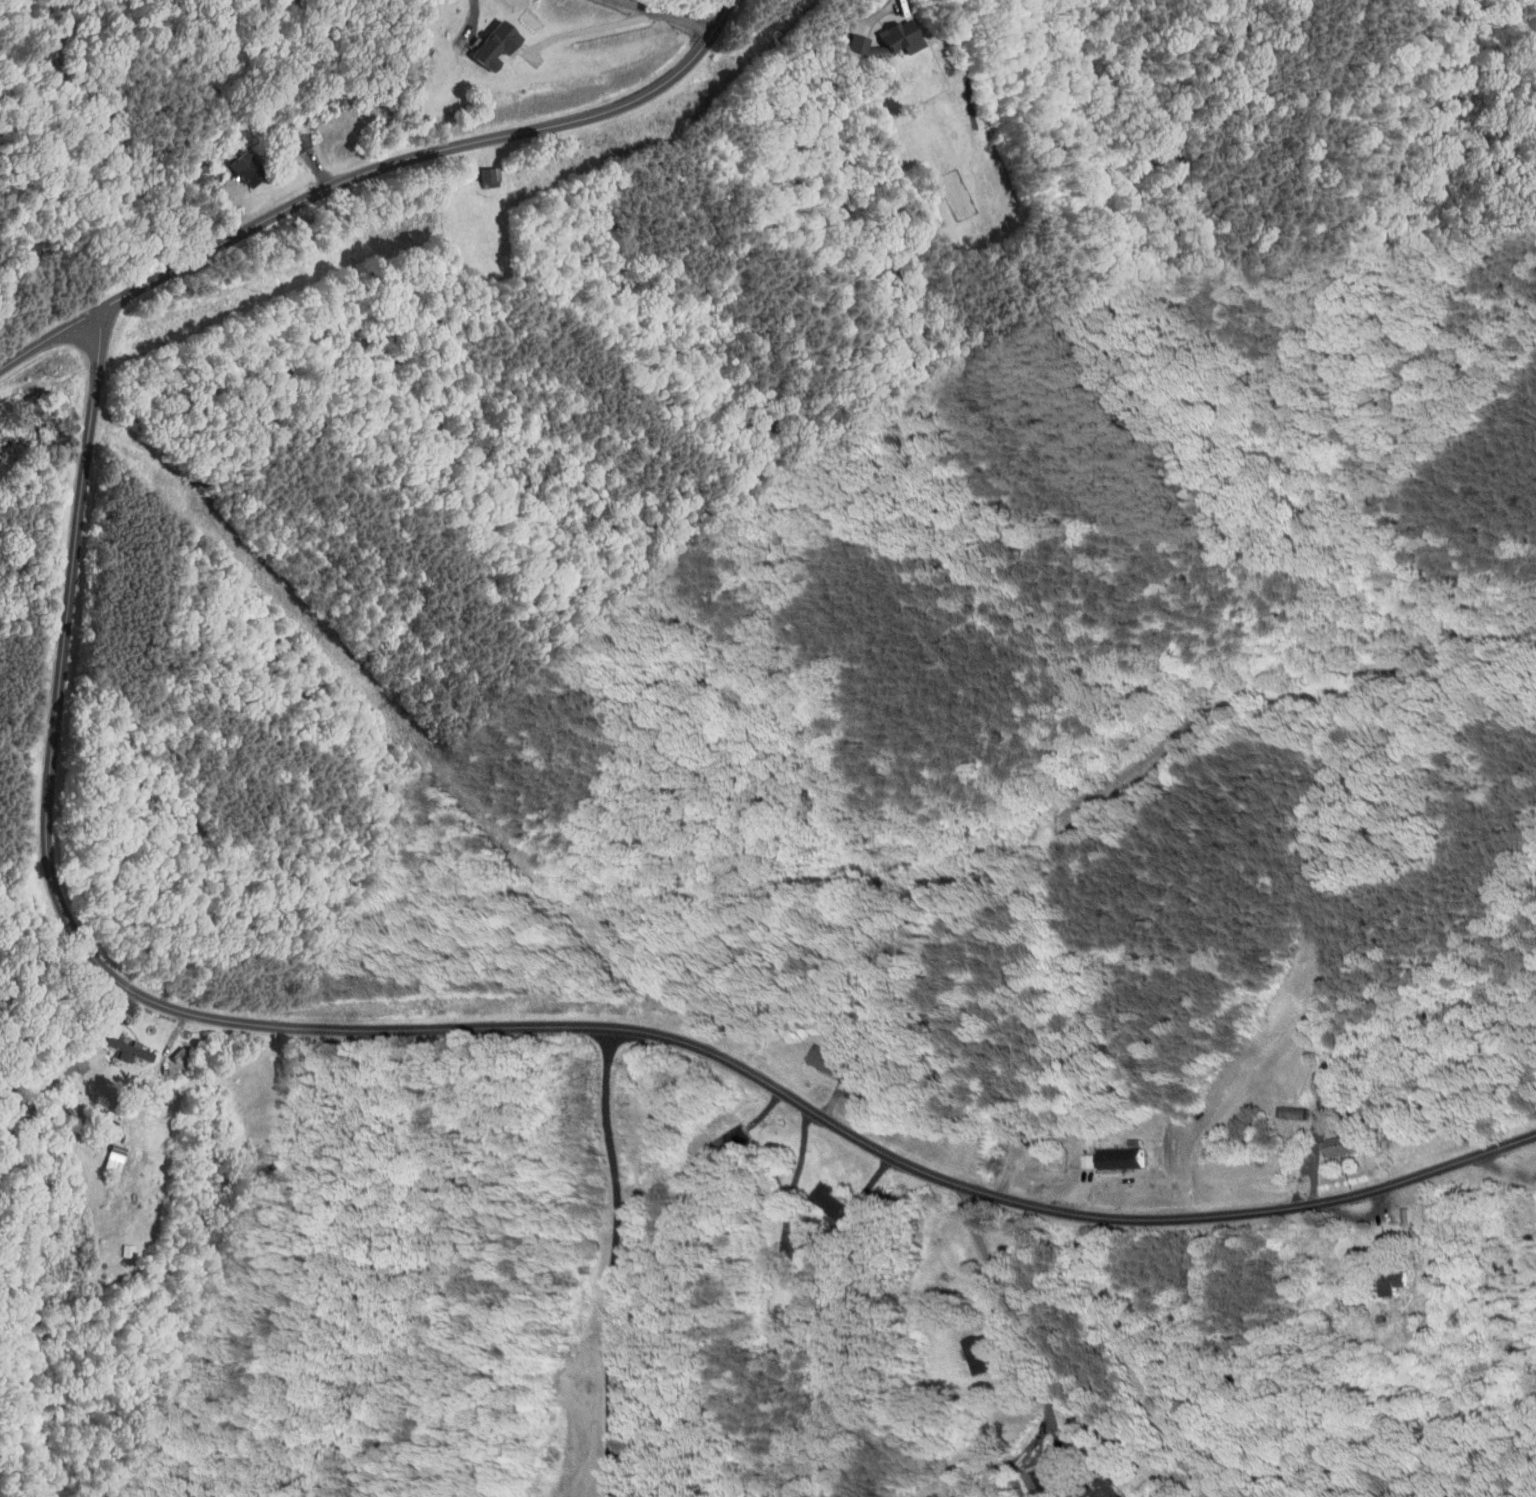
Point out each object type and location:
road: (621, 22)
building: (885, 34)
building: (497, 41)
building: (239, 162)
road: (363, 165)
building: (481, 169)
road: (499, 1026)
building: (119, 1043)
building: (819, 1055)
building: (719, 1134)
building: (1331, 1139)
building: (1113, 1151)
building: (106, 1152)
building: (1076, 1154)
road: (1505, 1171)
road: (793, 1180)
building: (824, 1198)
building: (1396, 1209)
building: (795, 1223)
road: (612, 1261)
building: (973, 1349)
road: (1042, 1368)
road: (1055, 1427)
building: (1105, 1490)

